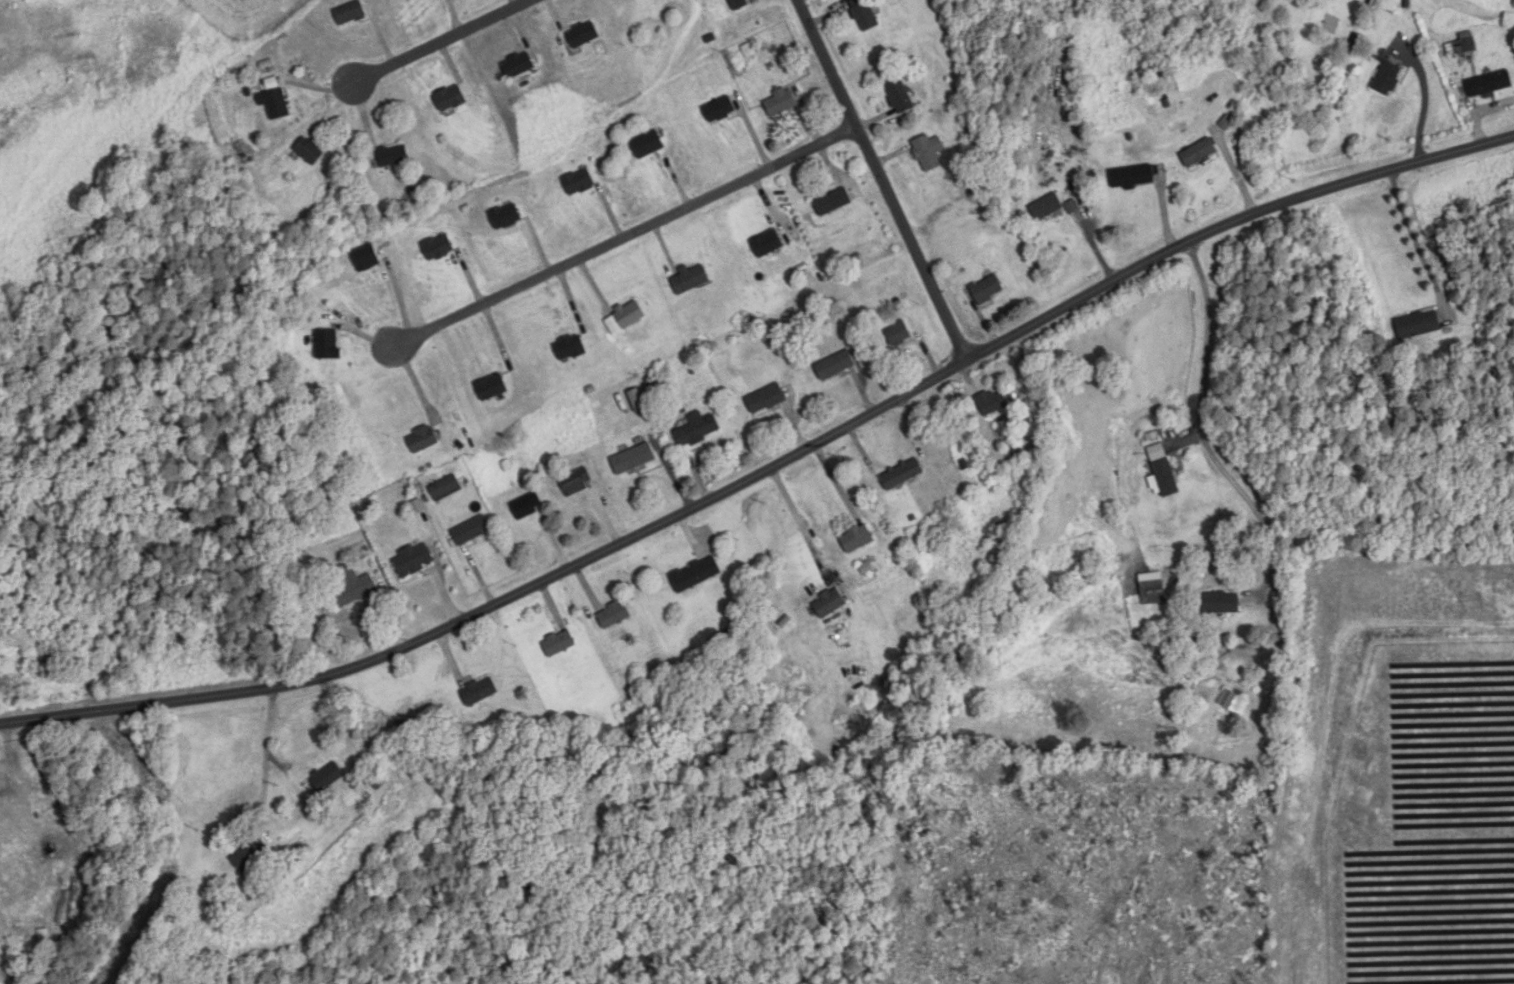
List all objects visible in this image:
building: (739, 4)
building: (350, 14)
building: (864, 15)
building: (583, 35)
building: (1463, 46)
road: (431, 49)
building: (518, 66)
building: (1387, 79)
building: (1489, 85)
building: (899, 96)
building: (450, 99)
building: (780, 103)
building: (275, 104)
building: (719, 111)
building: (647, 145)
building: (309, 151)
building: (929, 153)
building: (1198, 153)
building: (393, 156)
building: (1132, 177)
road: (884, 180)
building: (579, 183)
building: (833, 203)
building: (1046, 208)
building: (506, 218)
road: (1413, 237)
road: (614, 244)
building: (767, 244)
building: (438, 249)
building: (366, 258)
building: (690, 280)
building: (987, 290)
building: (630, 314)
building: (1418, 325)
building: (898, 335)
building: (327, 344)
building: (570, 347)
building: (835, 366)
building: (492, 387)
building: (766, 400)
building: (991, 403)
road: (1202, 428)
building: (698, 429)
building: (423, 440)
building: (633, 459)
road: (769, 470)
building: (1163, 473)
building: (902, 474)
building: (577, 482)
building: (446, 489)
building: (527, 506)
road: (796, 515)
building: (471, 531)
building: (857, 539)
building: (414, 561)
building: (695, 574)
building: (356, 587)
building: (1153, 592)
building: (1217, 602)
building: (829, 604)
building: (614, 615)
building: (559, 643)
building: (479, 692)
building: (1234, 702)
building: (328, 778)
building: (250, 855)

